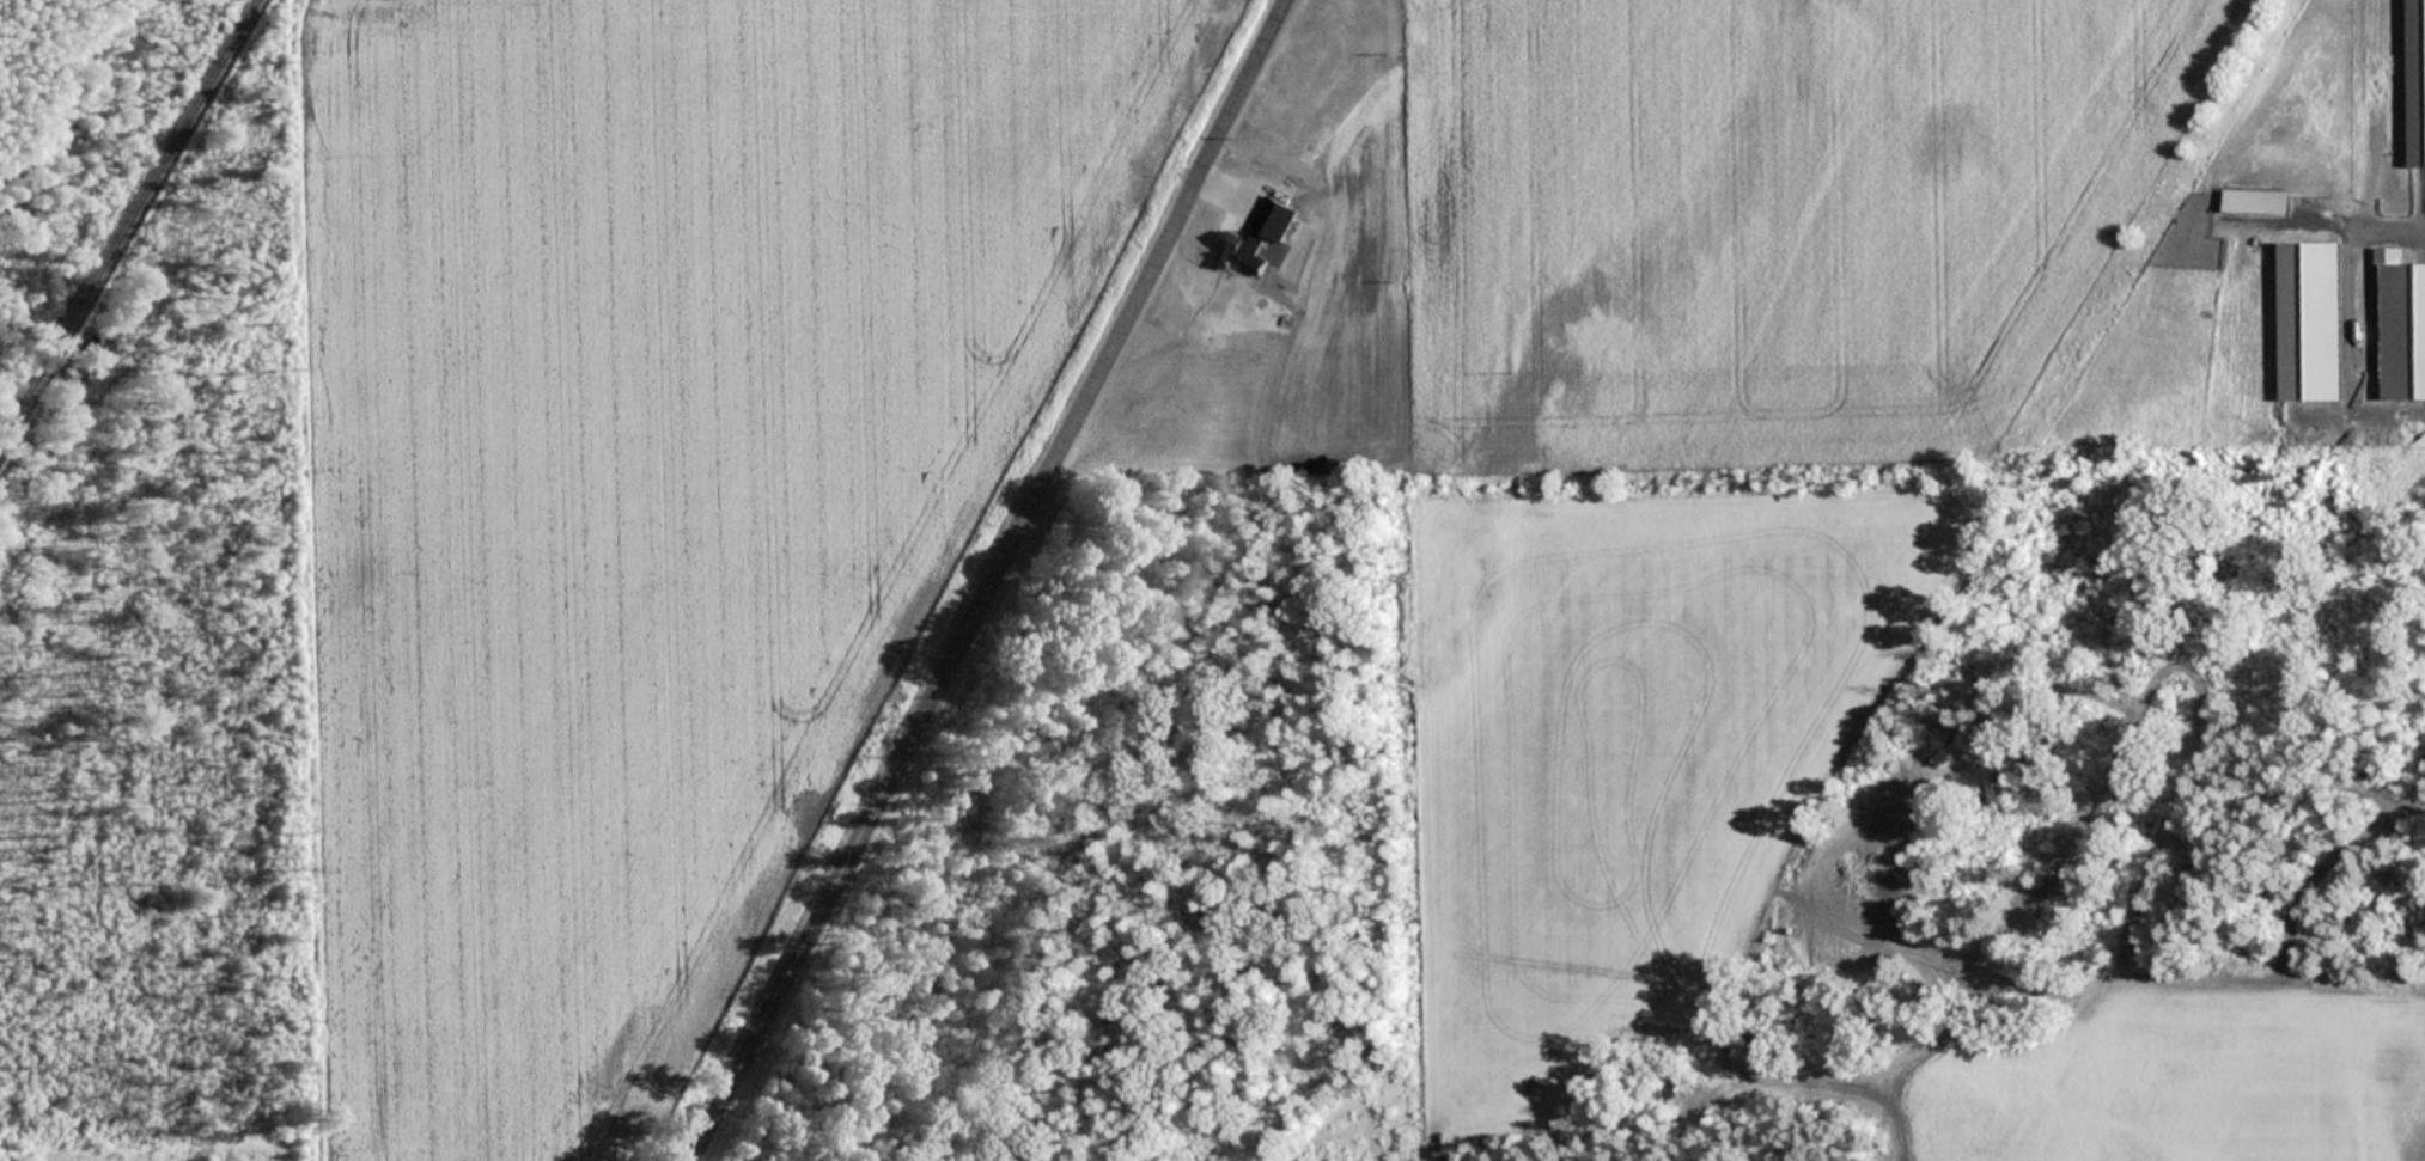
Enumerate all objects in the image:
railway: (127, 219)
building: (1272, 225)
building: (1232, 249)
road: (998, 580)

